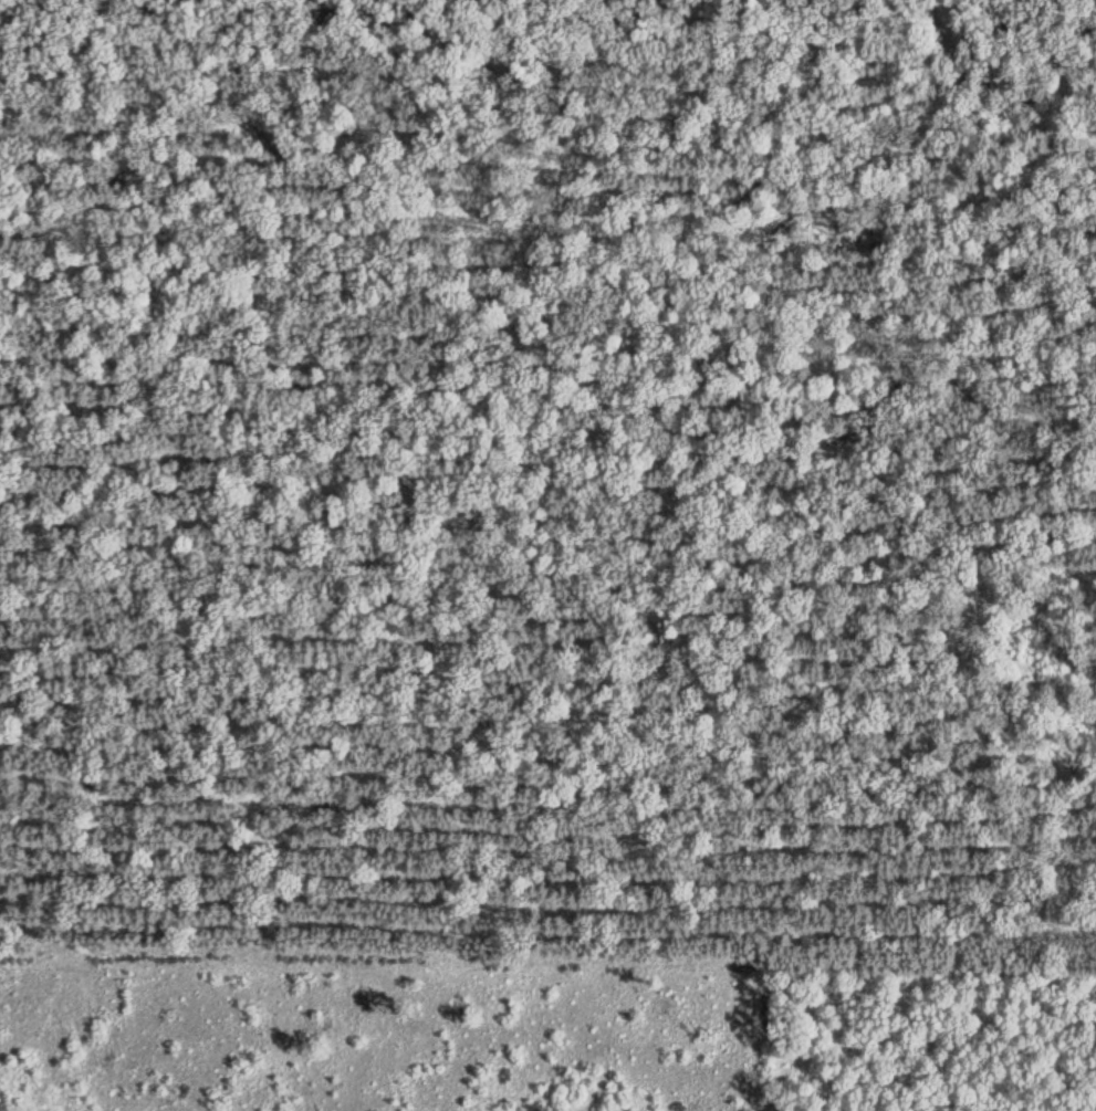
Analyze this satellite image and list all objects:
road: (1000, 90)

